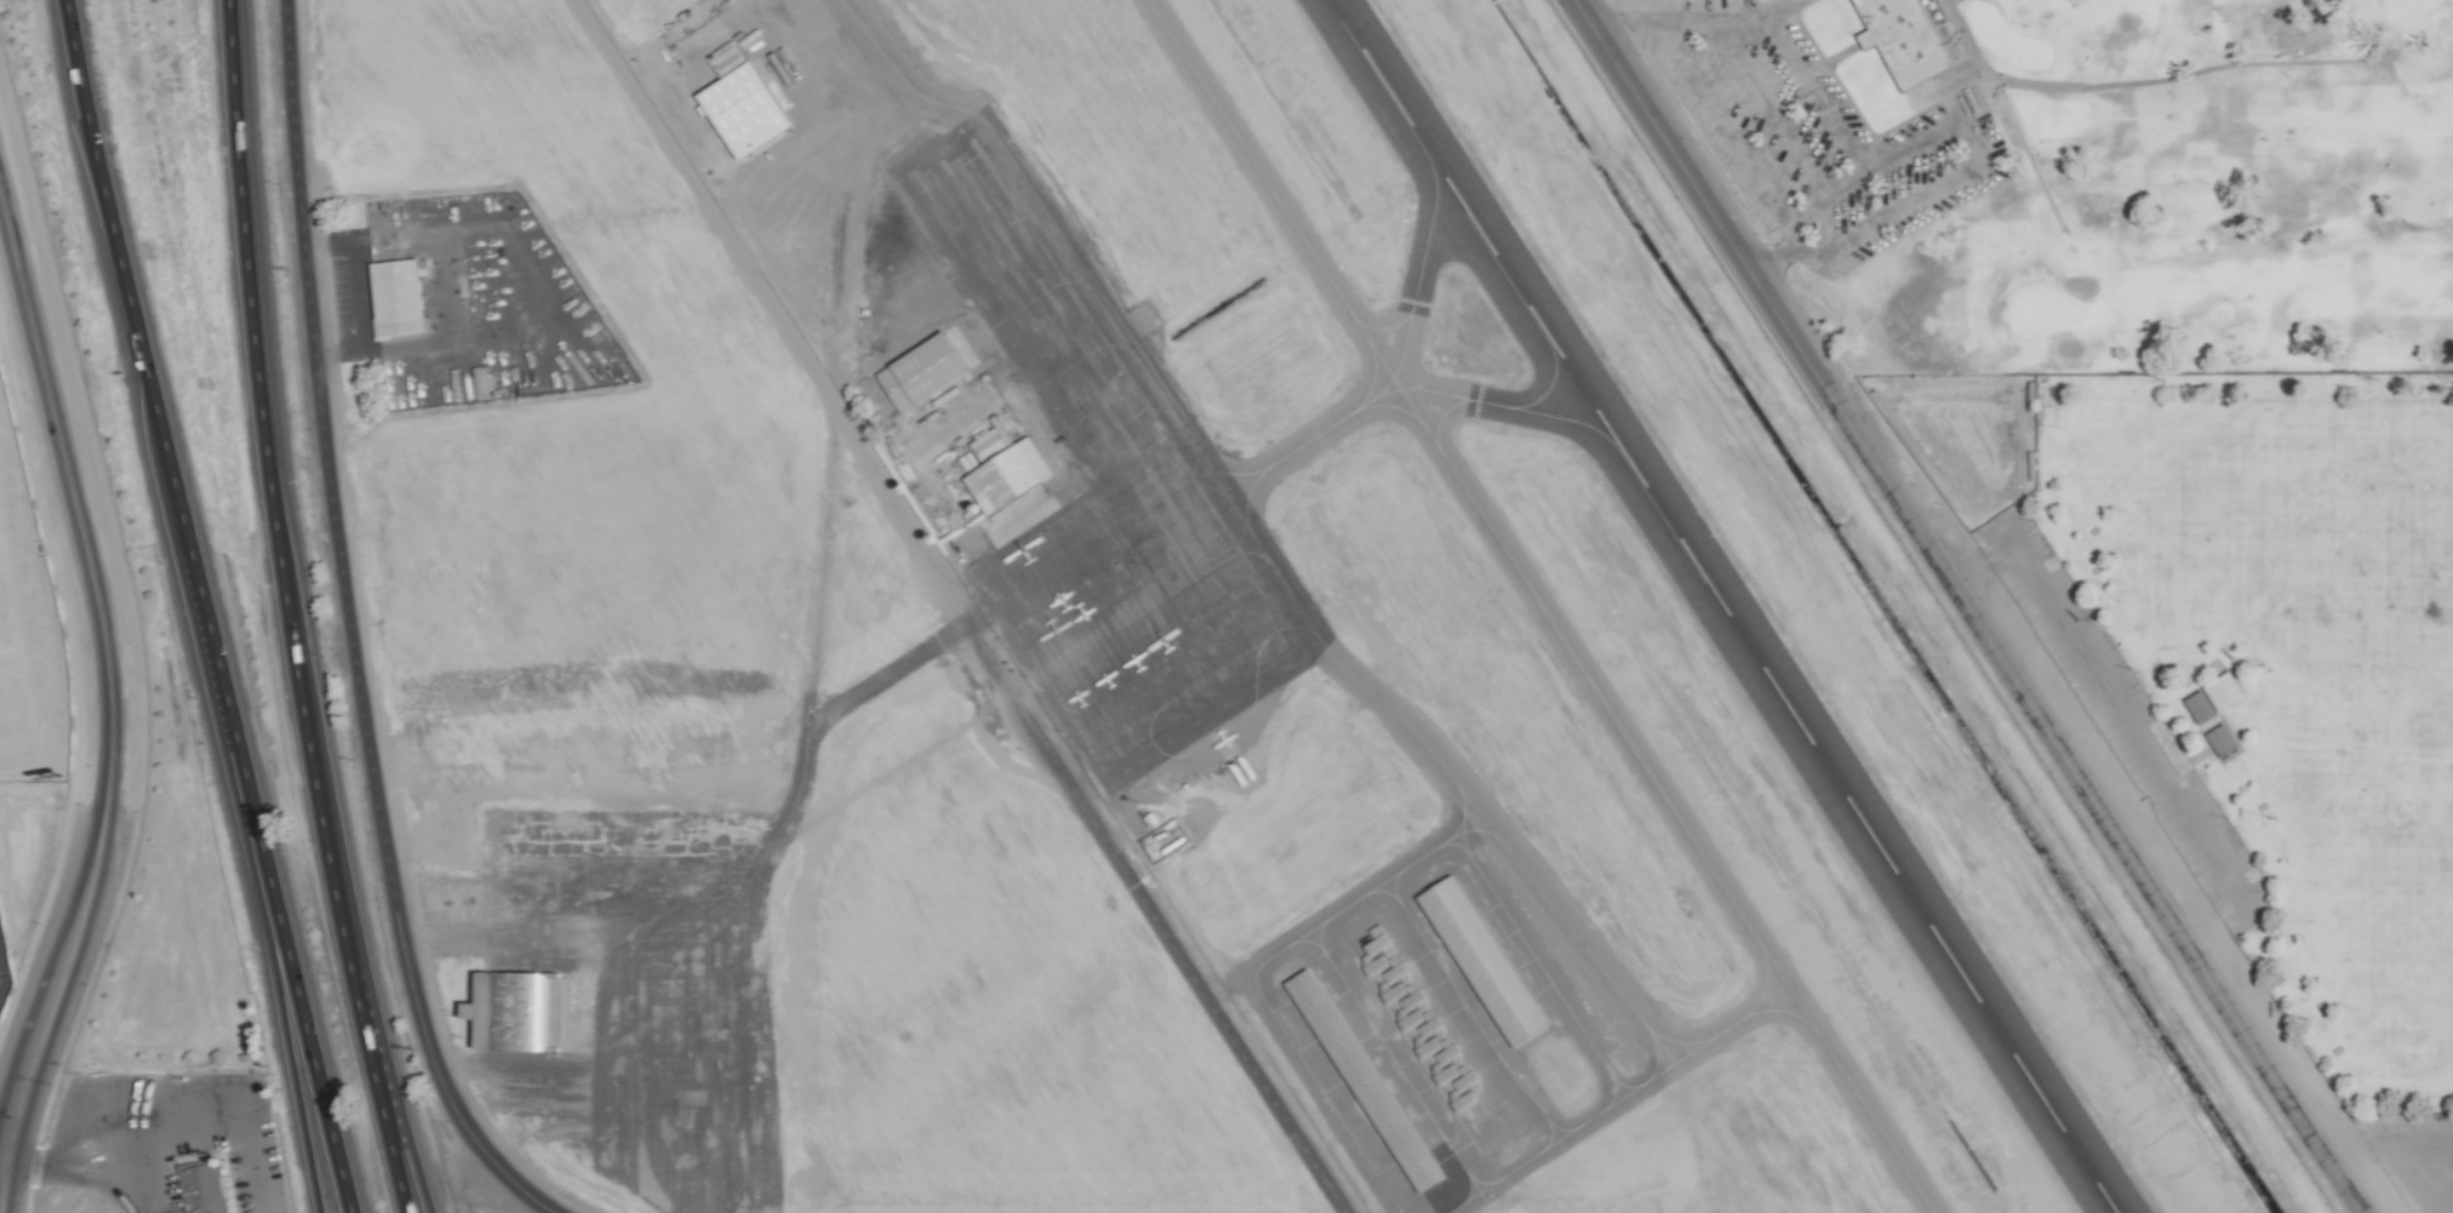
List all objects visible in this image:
building: (1900, 39)
road: (1789, 50)
airport taxiway: (893, 70)
road: (1773, 108)
building: (738, 109)
road: (1726, 124)
road: (1879, 170)
road: (1965, 170)
park: (2089, 179)
road: (124, 279)
road: (358, 291)
building: (391, 298)
airport taxiway: (1400, 361)
building: (917, 372)
airport taxiway: (1481, 402)
building: (1001, 469)
road: (271, 490)
airport apron: (1105, 491)
airport taxiway: (1539, 605)
airport: (1456, 606)
airport runway: (1721, 606)
road: (1961, 606)
road: (951, 608)
road: (349, 630)
road: (108, 683)
building: (2220, 691)
park: (2247, 691)
building: (2197, 706)
airport taxiway: (839, 709)
road: (231, 725)
building: (2219, 740)
airport taxiway: (1469, 824)
airport taxiway: (1563, 923)
building: (1479, 961)
road: (2, 973)
airport apron: (634, 1002)
building: (1314, 1009)
building: (513, 1012)
airport apron: (1431, 1032)
airport taxiway: (1712, 1037)
road: (290, 1053)
road: (310, 1053)
road: (376, 1094)
road: (213, 1114)
building: (1401, 1145)
road: (410, 1152)
road: (75, 1169)
building: (204, 1185)
airport taxiway: (1486, 1207)

